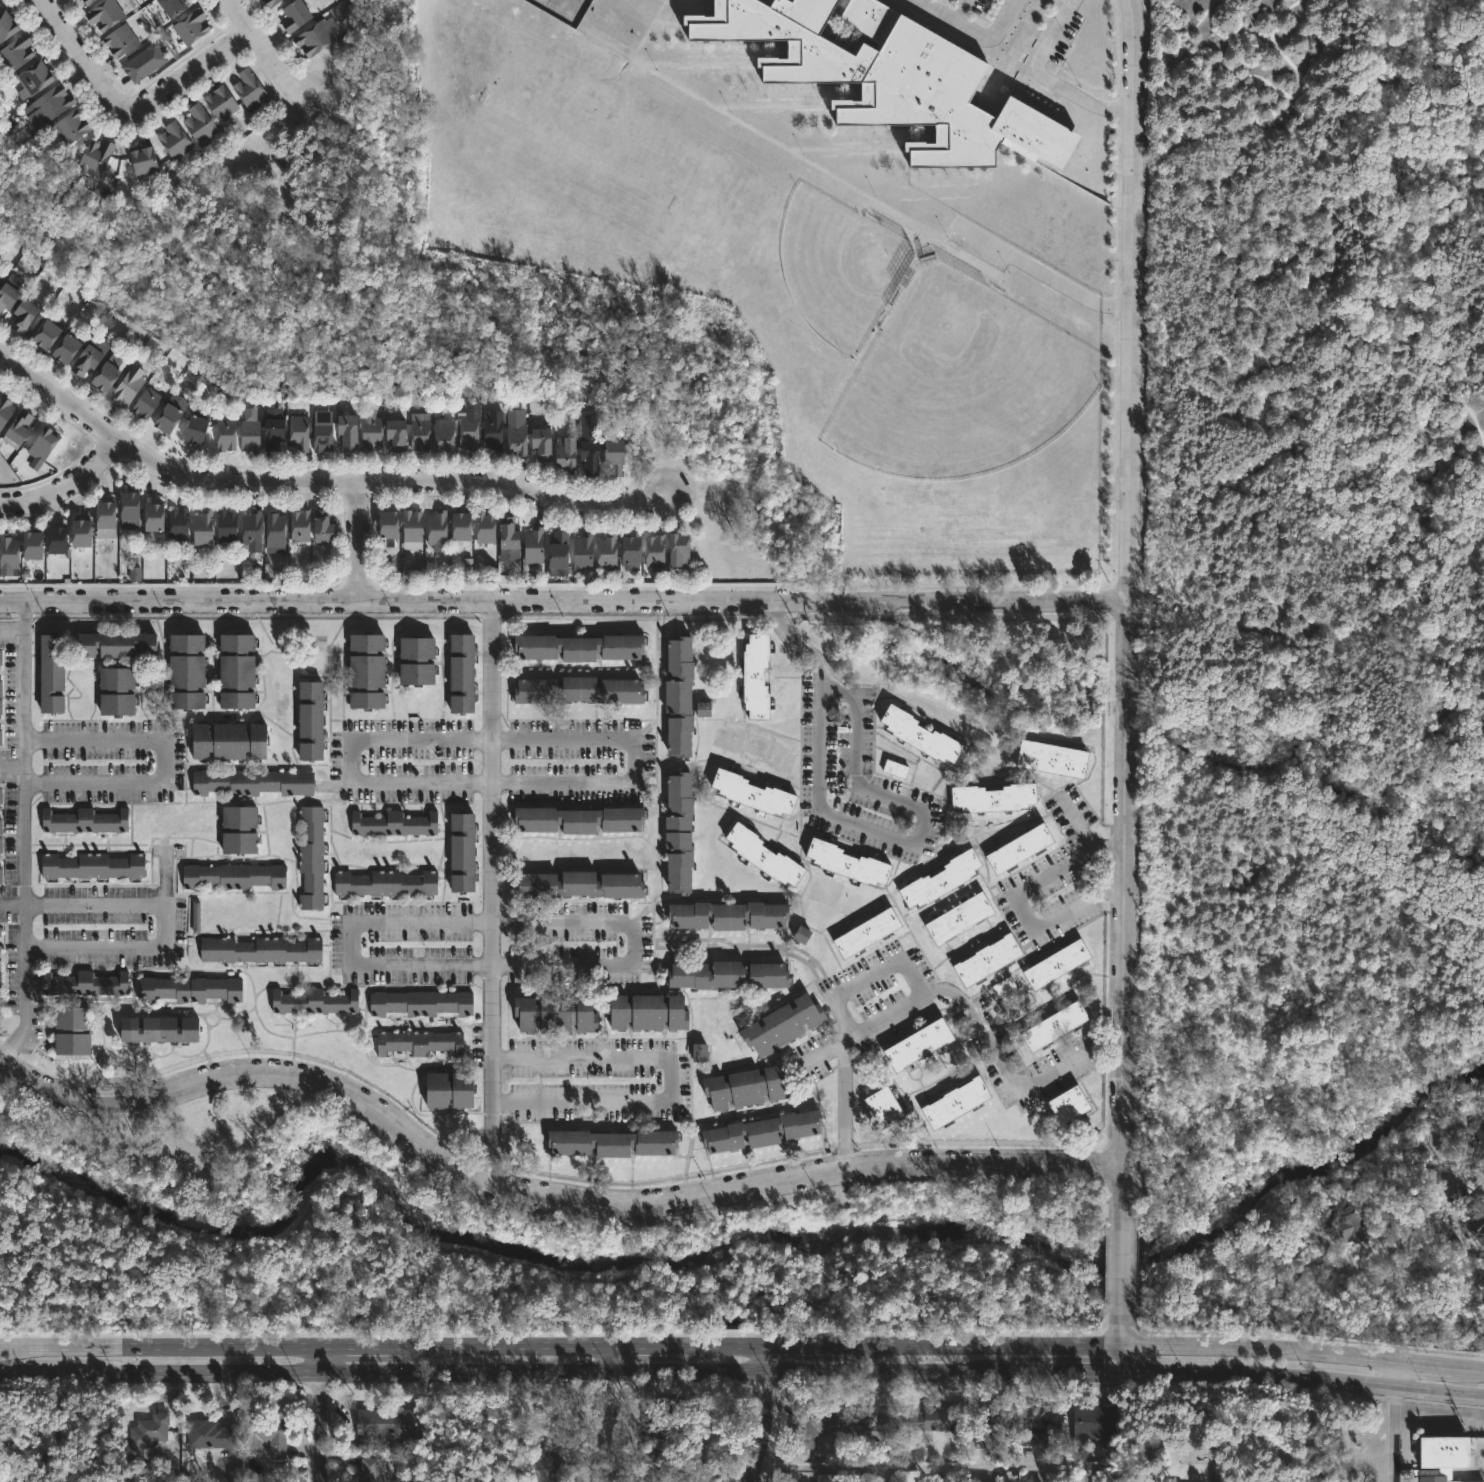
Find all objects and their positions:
building: (85, 2)
building: (273, 2)
building: (0, 5)
building: (174, 6)
road: (960, 9)
building: (102, 15)
building: (296, 15)
building: (7, 25)
building: (192, 26)
road: (975, 30)
building: (317, 38)
building: (118, 41)
road: (266, 48)
building: (17, 53)
road: (80, 57)
building: (143, 63)
road: (184, 69)
road: (1042, 72)
building: (35, 79)
building: (890, 82)
building: (250, 90)
building: (53, 102)
building: (222, 102)
building: (200, 124)
building: (71, 127)
building: (176, 140)
building: (95, 155)
building: (144, 160)
building: (456, 177)
building: (0, 274)
road: (1038, 275)
building: (1, 277)
building: (8, 297)
road: (1118, 298)
building: (25, 315)
building: (48, 335)
building: (69, 350)
building: (87, 360)
building: (109, 377)
building: (129, 386)
building: (147, 404)
building: (5, 409)
building: (172, 414)
building: (197, 428)
building: (493, 429)
building: (19, 430)
building: (371, 431)
building: (421, 431)
building: (300, 432)
building: (351, 432)
building: (470, 432)
building: (276, 433)
building: (226, 435)
building: (399, 435)
building: (446, 435)
building: (251, 436)
building: (322, 436)
building: (518, 438)
building: (41, 443)
building: (545, 444)
building: (567, 453)
building: (618, 456)
building: (594, 457)
road: (162, 470)
road: (517, 486)
road: (68, 487)
building: (132, 506)
building: (108, 515)
building: (156, 523)
building: (178, 524)
building: (391, 525)
building: (301, 526)
building: (462, 526)
building: (323, 527)
building: (203, 528)
building: (486, 528)
building: (228, 529)
building: (273, 529)
building: (414, 530)
building: (249, 531)
building: (439, 531)
building: (508, 533)
building: (84, 534)
building: (60, 540)
road: (363, 541)
building: (36, 546)
building: (535, 546)
building: (628, 549)
building: (653, 550)
building: (681, 550)
building: (584, 552)
building: (609, 554)
building: (8, 555)
building: (560, 555)
building: (134, 573)
park: (1315, 578)
road: (560, 598)
road: (26, 615)
building: (114, 643)
building: (585, 648)
building: (0, 655)
building: (416, 659)
building: (235, 668)
building: (183, 669)
building: (365, 669)
building: (460, 674)
building: (48, 675)
building: (754, 676)
building: (0, 687)
building: (114, 688)
building: (582, 691)
building: (679, 697)
building: (0, 702)
building: (703, 709)
building: (309, 719)
building: (918, 734)
building: (0, 736)
building: (228, 740)
building: (1050, 758)
road: (164, 761)
road: (12, 767)
building: (893, 769)
building: (251, 782)
road: (624, 783)
building: (0, 790)
building: (750, 794)
building: (989, 796)
building: (82, 820)
building: (575, 820)
building: (392, 824)
road: (1075, 824)
building: (243, 829)
road: (866, 829)
building: (678, 832)
road: (25, 835)
building: (1, 841)
building: (1015, 847)
building: (459, 853)
building: (761, 856)
building: (313, 857)
building: (843, 861)
building: (90, 866)
building: (0, 874)
building: (231, 875)
building: (936, 878)
road: (167, 879)
road: (1121, 879)
building: (383, 883)
building: (584, 885)
road: (491, 892)
road: (1018, 901)
road: (166, 913)
building: (725, 914)
building: (195, 917)
building: (957, 919)
building: (865, 933)
building: (0, 934)
building: (801, 934)
building: (0, 949)
building: (258, 951)
building: (986, 961)
building: (0, 963)
building: (1055, 964)
road: (498, 965)
building: (725, 974)
building: (82, 983)
building: (1002, 986)
building: (186, 988)
road: (847, 991)
building: (312, 1001)
building: (419, 1003)
building: (644, 1013)
building: (553, 1014)
building: (780, 1026)
building: (1053, 1026)
building: (161, 1029)
building: (70, 1030)
building: (417, 1042)
building: (916, 1046)
building: (698, 1053)
road: (1006, 1075)
road: (672, 1081)
building: (447, 1088)
building: (744, 1088)
building: (1066, 1103)
building: (954, 1104)
building: (882, 1108)
building: (759, 1130)
building: (1477, 1140)
building: (609, 1141)
park: (191, 1158)
road: (538, 1195)
road: (1120, 1198)
building: (1344, 1223)
building: (1406, 1239)
park: (494, 1241)
road: (1121, 1267)
road: (1296, 1274)
road: (1119, 1335)
road: (742, 1346)
road: (1395, 1371)
road: (742, 1373)
road: (320, 1414)
road: (615, 1414)
road: (756, 1414)
building: (664, 1415)
building: (931, 1419)
building: (385, 1421)
building: (1040, 1422)
building: (1093, 1423)
building: (810, 1424)
building: (985, 1424)
building: (871, 1427)
building: (146, 1431)
building: (208, 1434)
road: (1393, 1434)
building: (265, 1436)
building: (1442, 1456)
building: (547, 1463)
building: (662, 1463)
building: (369, 1470)
building: (825, 1478)

